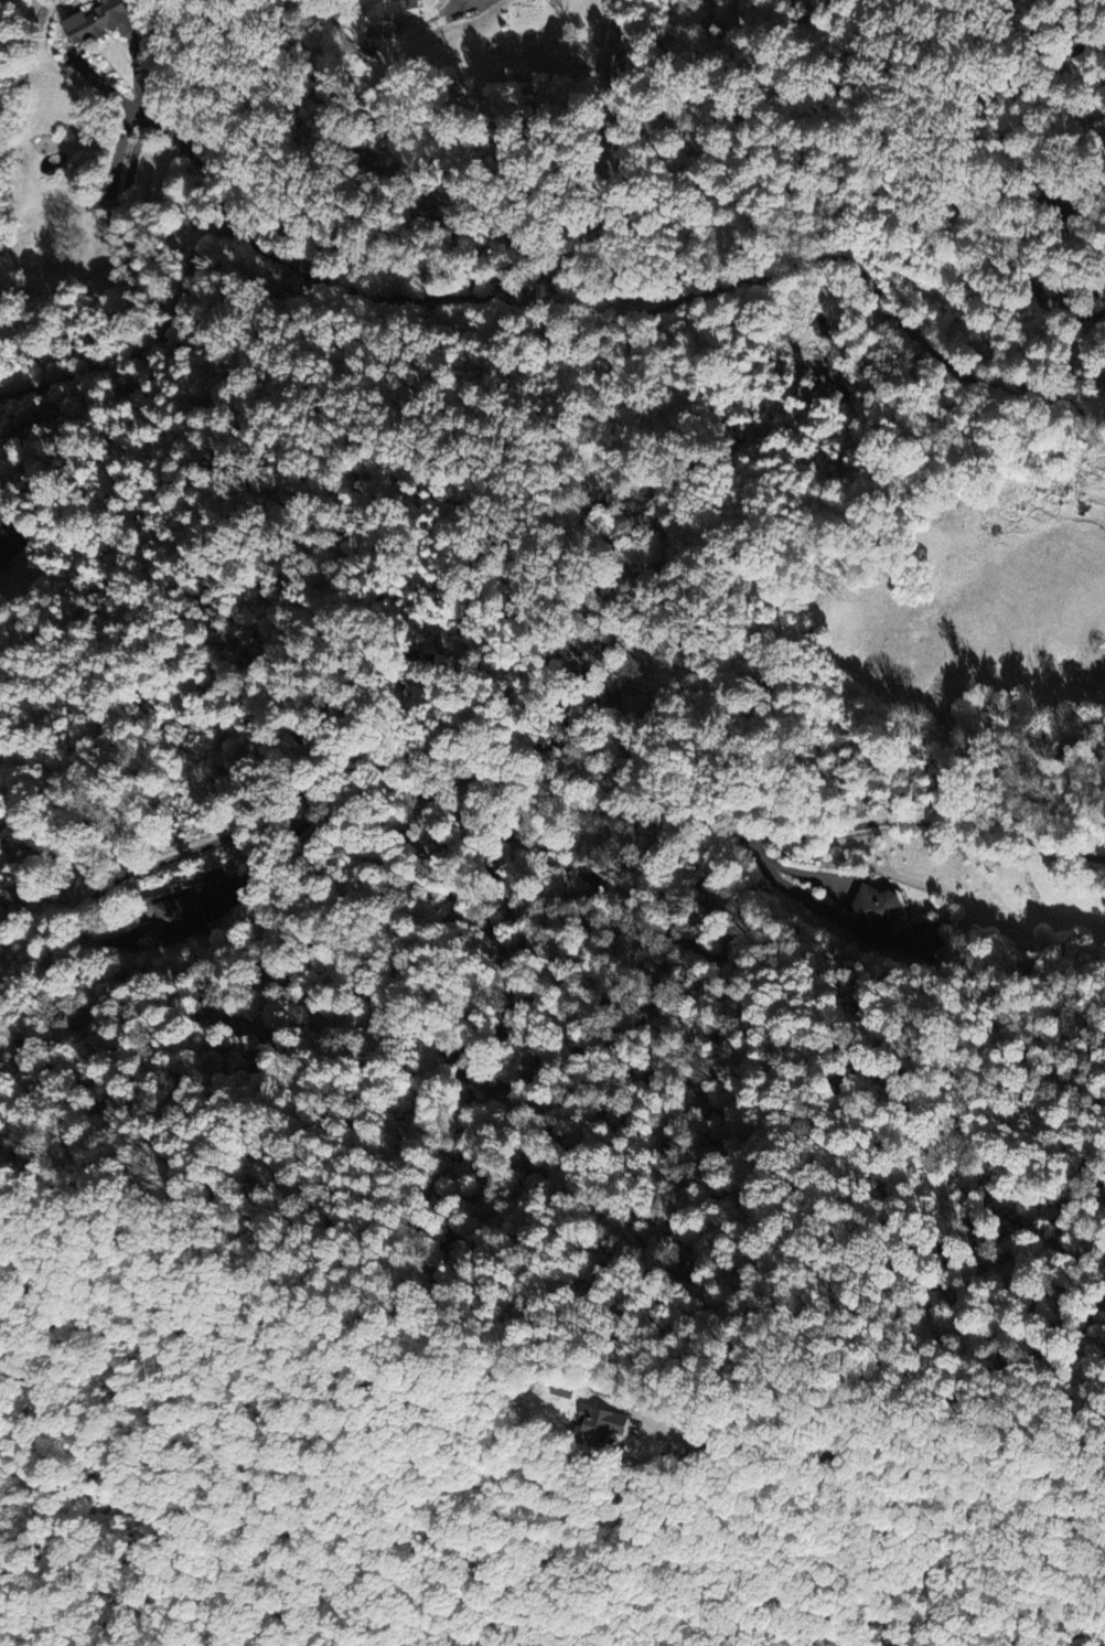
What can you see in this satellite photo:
road: (472, 1)
building: (389, 14)
building: (101, 21)
road: (104, 86)
road: (185, 146)
building: (105, 209)
road: (548, 299)
road: (286, 837)
road: (733, 841)
building: (179, 910)
building: (875, 911)
building: (704, 1425)
building: (611, 1426)
road: (886, 1440)

